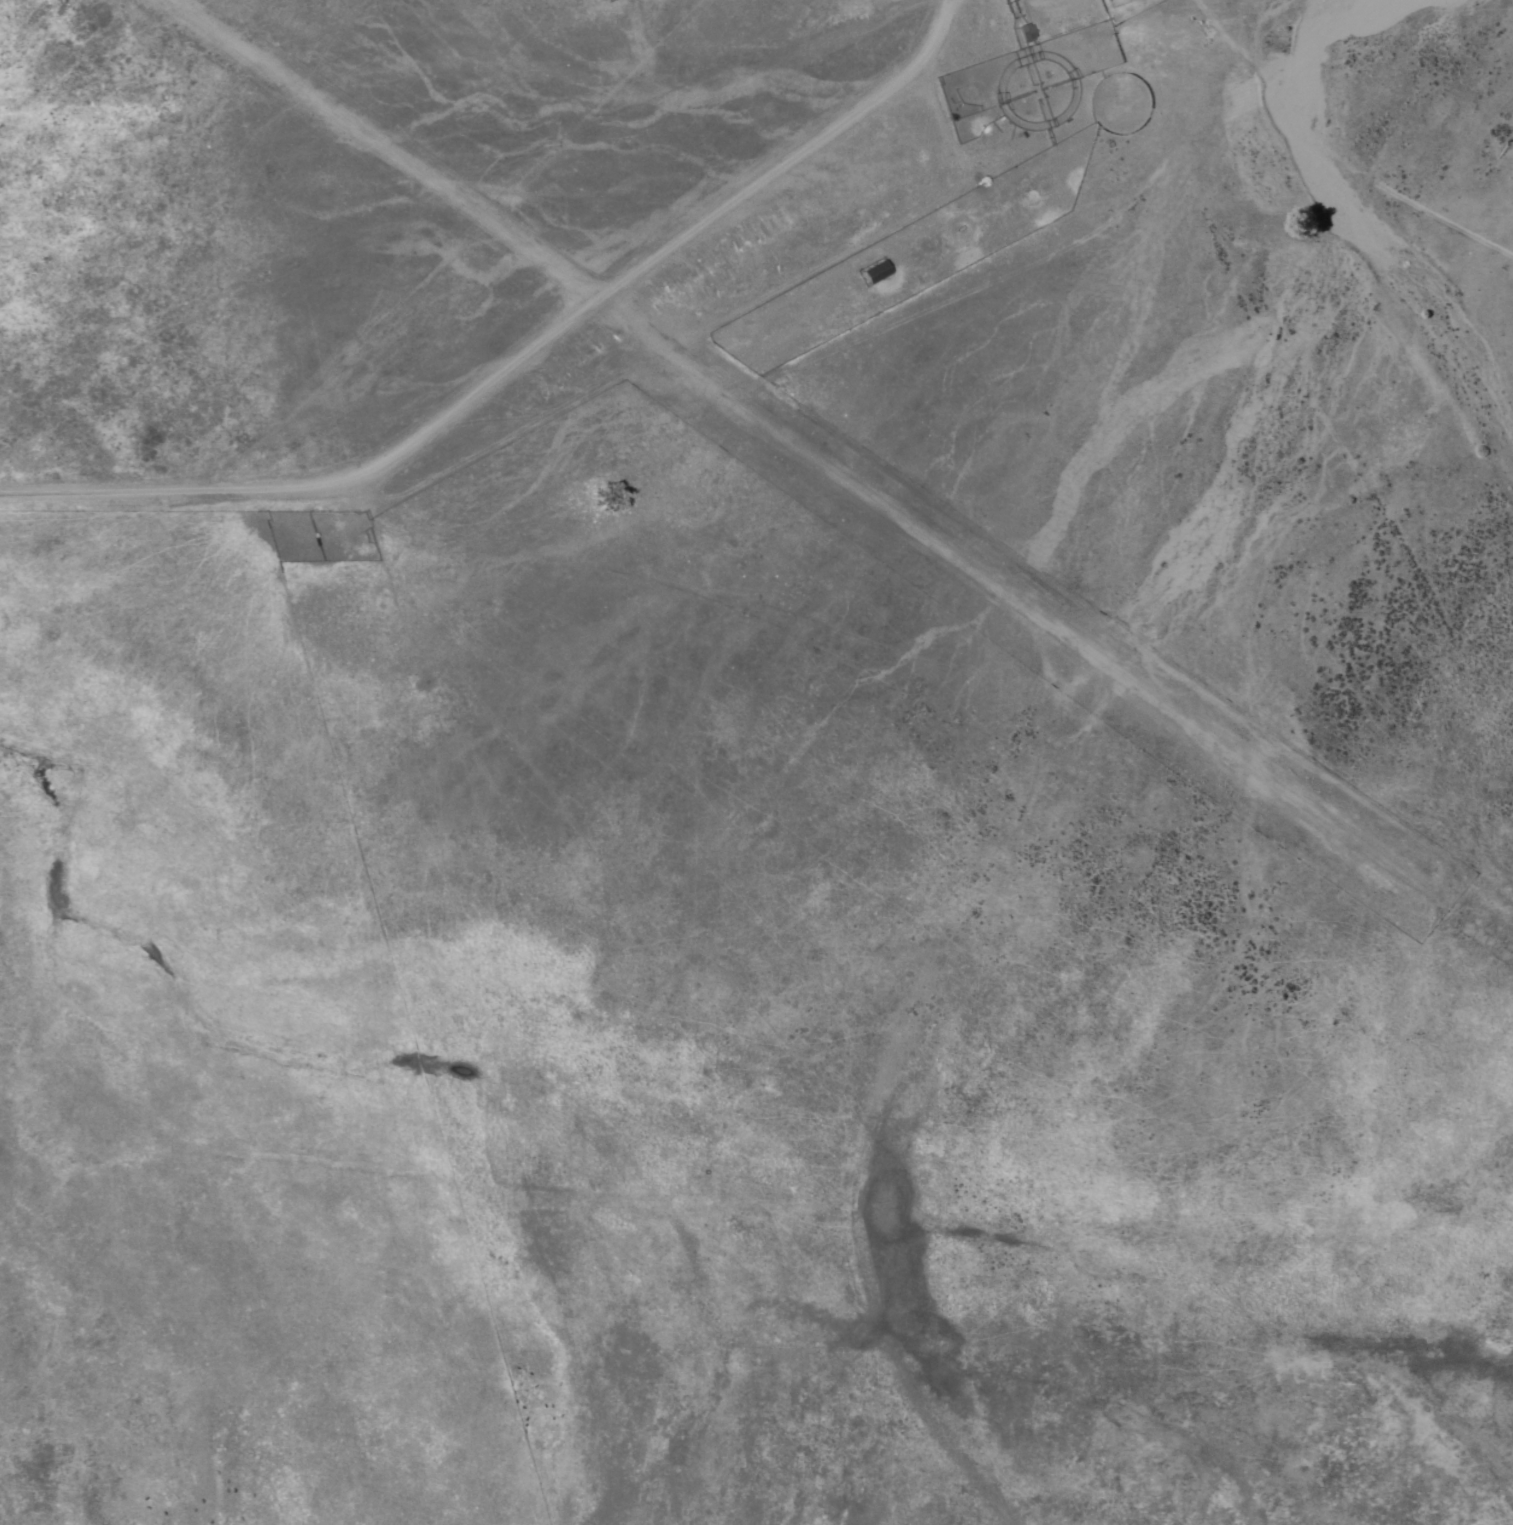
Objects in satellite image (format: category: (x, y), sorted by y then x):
road: (522, 358)
airport runway: (1064, 628)

